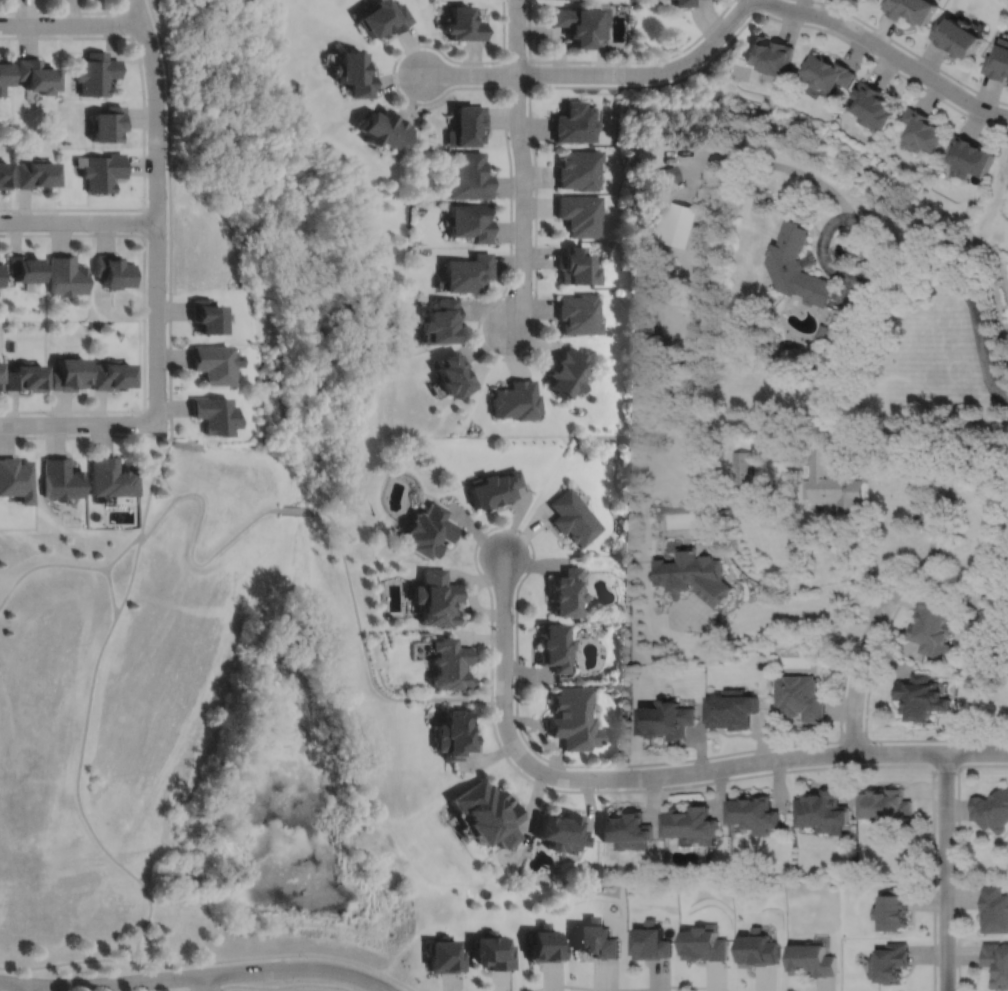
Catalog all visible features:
street lamp: (528, 2)
building: (684, 3)
road: (755, 6)
building: (911, 8)
road: (65, 11)
street lamp: (10, 14)
building: (384, 18)
road: (129, 22)
road: (71, 23)
building: (464, 23)
building: (578, 23)
street lamp: (128, 35)
building: (957, 35)
road: (517, 36)
street lamp: (691, 48)
road: (909, 50)
road: (889, 53)
building: (771, 54)
street lamp: (872, 54)
building: (998, 60)
road: (614, 61)
building: (95, 71)
building: (354, 71)
building: (827, 71)
building: (4, 72)
building: (38, 73)
road: (393, 73)
road: (470, 73)
road: (529, 73)
road: (648, 73)
street lamp: (496, 83)
street lamp: (624, 84)
street lamp: (399, 85)
street lamp: (960, 85)
street lamp: (147, 97)
building: (874, 105)
building: (108, 122)
building: (574, 122)
building: (466, 123)
building: (384, 126)
road: (145, 128)
building: (920, 130)
street lamp: (531, 147)
building: (968, 155)
road: (535, 158)
road: (758, 161)
building: (578, 168)
building: (101, 169)
building: (38, 172)
building: (5, 173)
building: (666, 174)
building: (470, 175)
road: (524, 201)
street lamp: (147, 202)
road: (158, 210)
street lamp: (13, 211)
building: (580, 214)
road: (171, 218)
building: (472, 220)
road: (78, 221)
road: (145, 221)
building: (674, 223)
street lamp: (89, 231)
street lamp: (514, 247)
building: (797, 266)
building: (576, 267)
building: (27, 268)
building: (111, 269)
building: (468, 271)
building: (0, 274)
building: (66, 275)
road: (866, 284)
street lamp: (167, 291)
road: (973, 311)
building: (579, 314)
building: (207, 315)
road: (145, 321)
building: (441, 321)
building: (821, 333)
street lamp: (521, 351)
building: (215, 362)
building: (69, 373)
building: (454, 373)
building: (565, 373)
building: (1, 374)
building: (111, 374)
building: (27, 376)
building: (515, 400)
street lamp: (49, 413)
street lamp: (137, 413)
building: (214, 414)
road: (75, 422)
road: (85, 435)
building: (742, 468)
building: (110, 477)
road: (946, 478)
building: (16, 479)
building: (61, 479)
road: (168, 483)
building: (831, 484)
building: (496, 488)
road: (296, 509)
road: (199, 518)
building: (574, 518)
building: (430, 531)
street lamp: (519, 531)
road: (44, 564)
building: (692, 576)
road: (112, 592)
building: (566, 593)
building: (437, 598)
road: (492, 598)
road: (772, 615)
street lamp: (495, 628)
building: (935, 629)
building: (554, 648)
road: (367, 656)
building: (452, 664)
road: (871, 667)
road: (859, 668)
road: (842, 685)
building: (921, 696)
building: (801, 697)
road: (89, 707)
building: (732, 707)
building: (573, 717)
building: (666, 717)
park: (201, 729)
building: (456, 732)
road: (930, 752)
street lamp: (706, 759)
road: (945, 764)
street lamp: (789, 766)
street lamp: (934, 775)
road: (581, 778)
street lamp: (547, 783)
building: (886, 802)
building: (991, 808)
building: (822, 809)
building: (755, 811)
building: (488, 812)
building: (693, 822)
building: (627, 828)
building: (560, 829)
road: (957, 853)
park: (586, 871)
road: (944, 871)
building: (894, 908)
building: (994, 908)
building: (595, 938)
building: (651, 941)
building: (545, 943)
building: (705, 943)
building: (758, 948)
building: (494, 950)
road: (278, 955)
building: (447, 955)
street lamp: (309, 957)
building: (812, 959)
building: (891, 961)
road: (67, 962)
building: (997, 962)
road: (185, 977)
road: (205, 983)
road: (382, 985)
road: (375, 986)
street lamp: (183, 987)
road: (286, 987)
road: (25, 988)
road: (629, 989)
road: (214, 990)
road: (221, 990)

